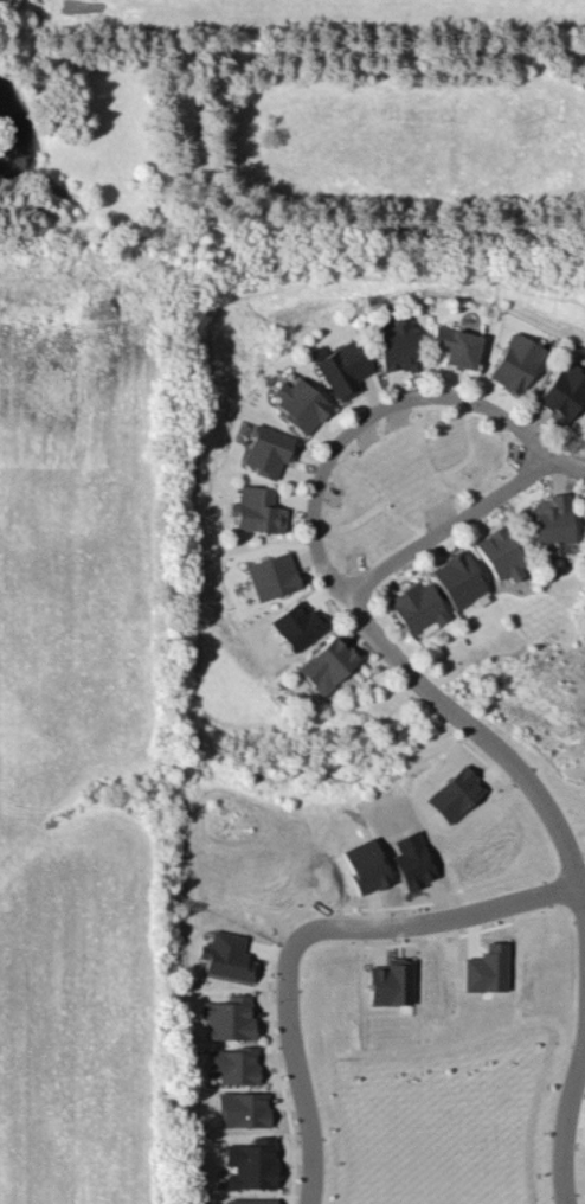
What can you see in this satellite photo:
building: (397, 346)
building: (456, 346)
building: (516, 363)
building: (343, 370)
building: (564, 392)
building: (301, 404)
building: (268, 450)
building: (258, 510)
building: (552, 523)
road: (448, 525)
building: (584, 529)
building: (502, 555)
road: (324, 566)
building: (272, 576)
building: (458, 579)
building: (419, 607)
building: (298, 626)
building: (328, 664)
building: (456, 794)
building: (414, 860)
building: (366, 865)
road: (583, 894)
road: (304, 931)
building: (226, 956)
building: (488, 968)
building: (392, 981)
building: (229, 1018)
building: (232, 1064)
building: (243, 1108)
road: (565, 1125)
building: (252, 1163)
building: (251, 1200)

